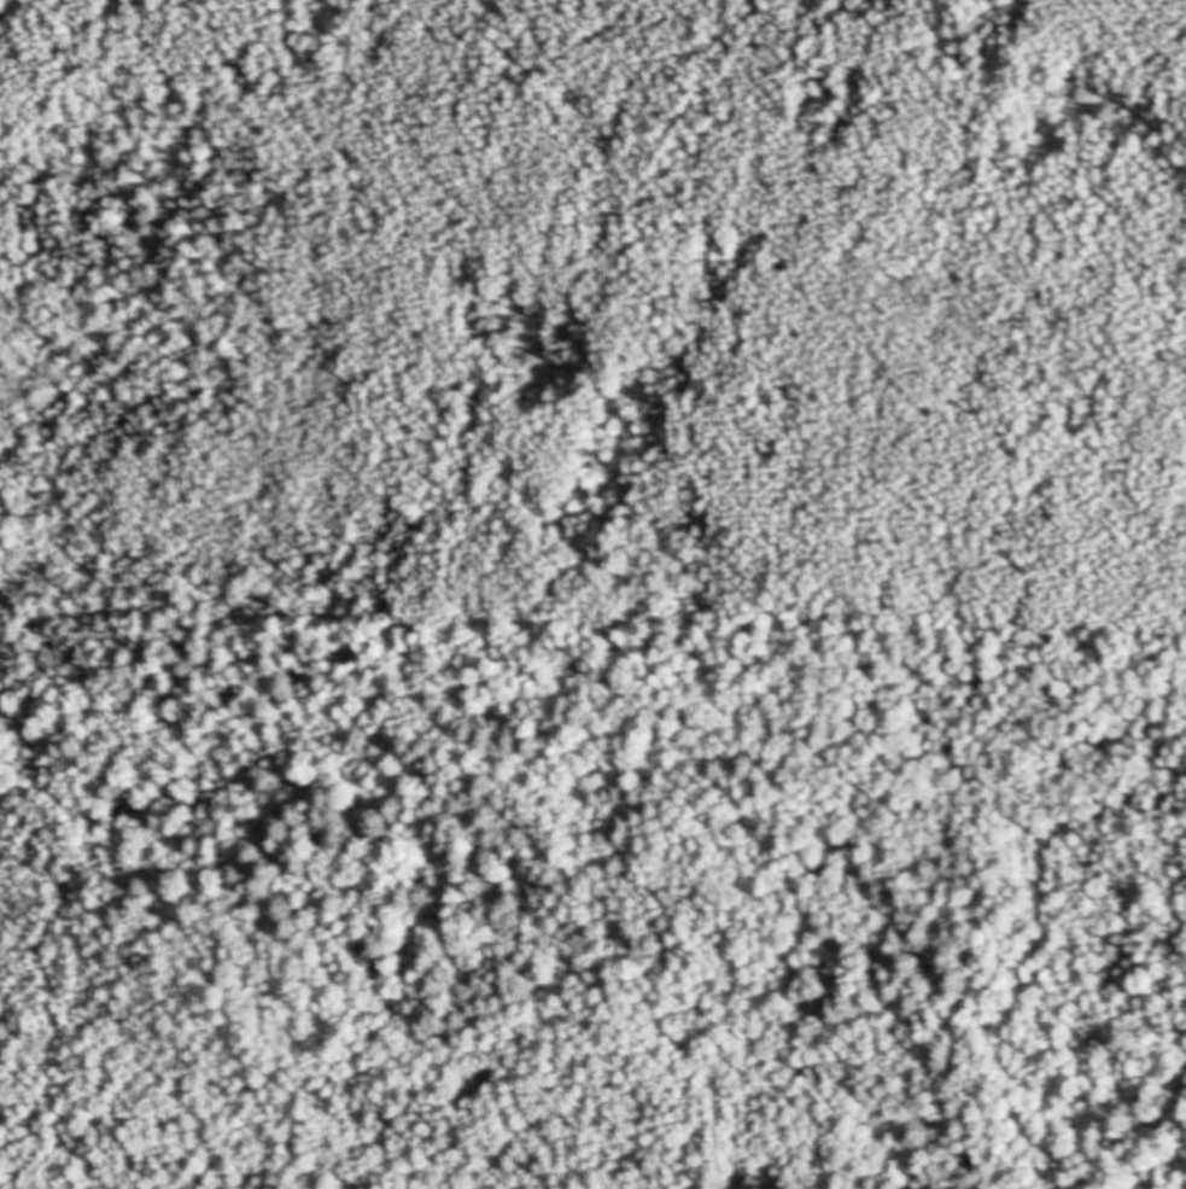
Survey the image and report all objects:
road: (483, 56)

